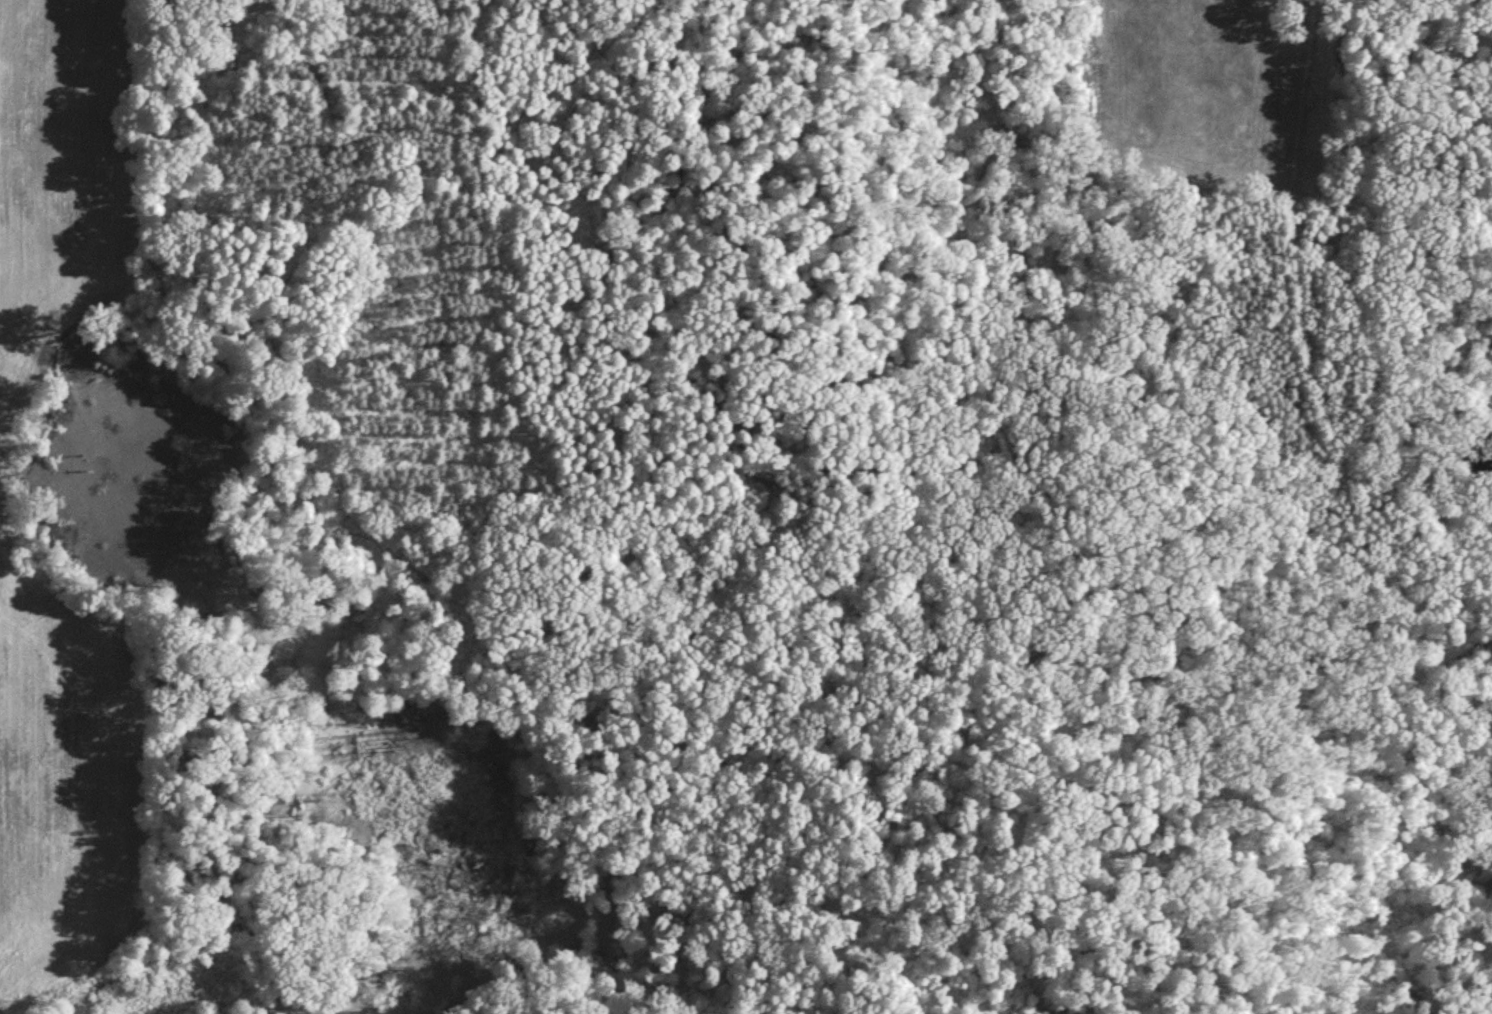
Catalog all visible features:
crop: (62, 178)
crop: (68, 794)

